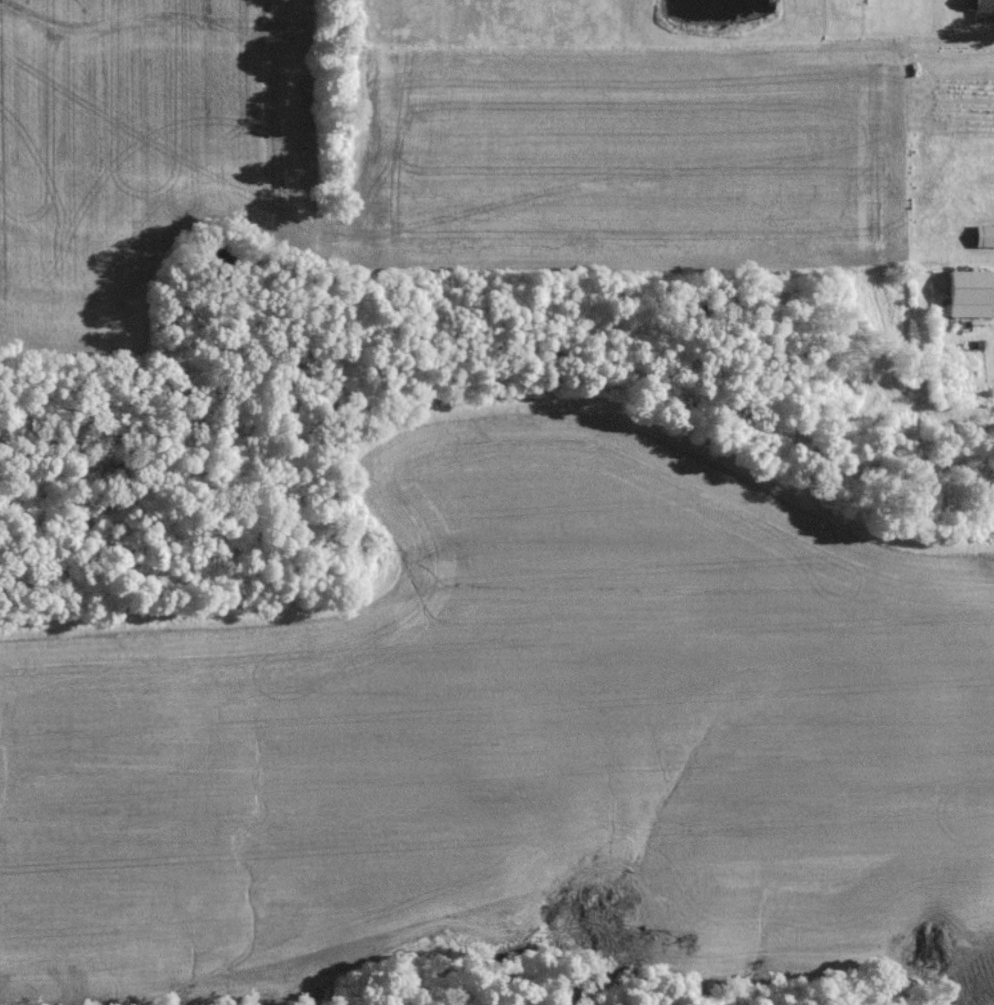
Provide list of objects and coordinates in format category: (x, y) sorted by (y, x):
building: (980, 13)
building: (963, 299)

